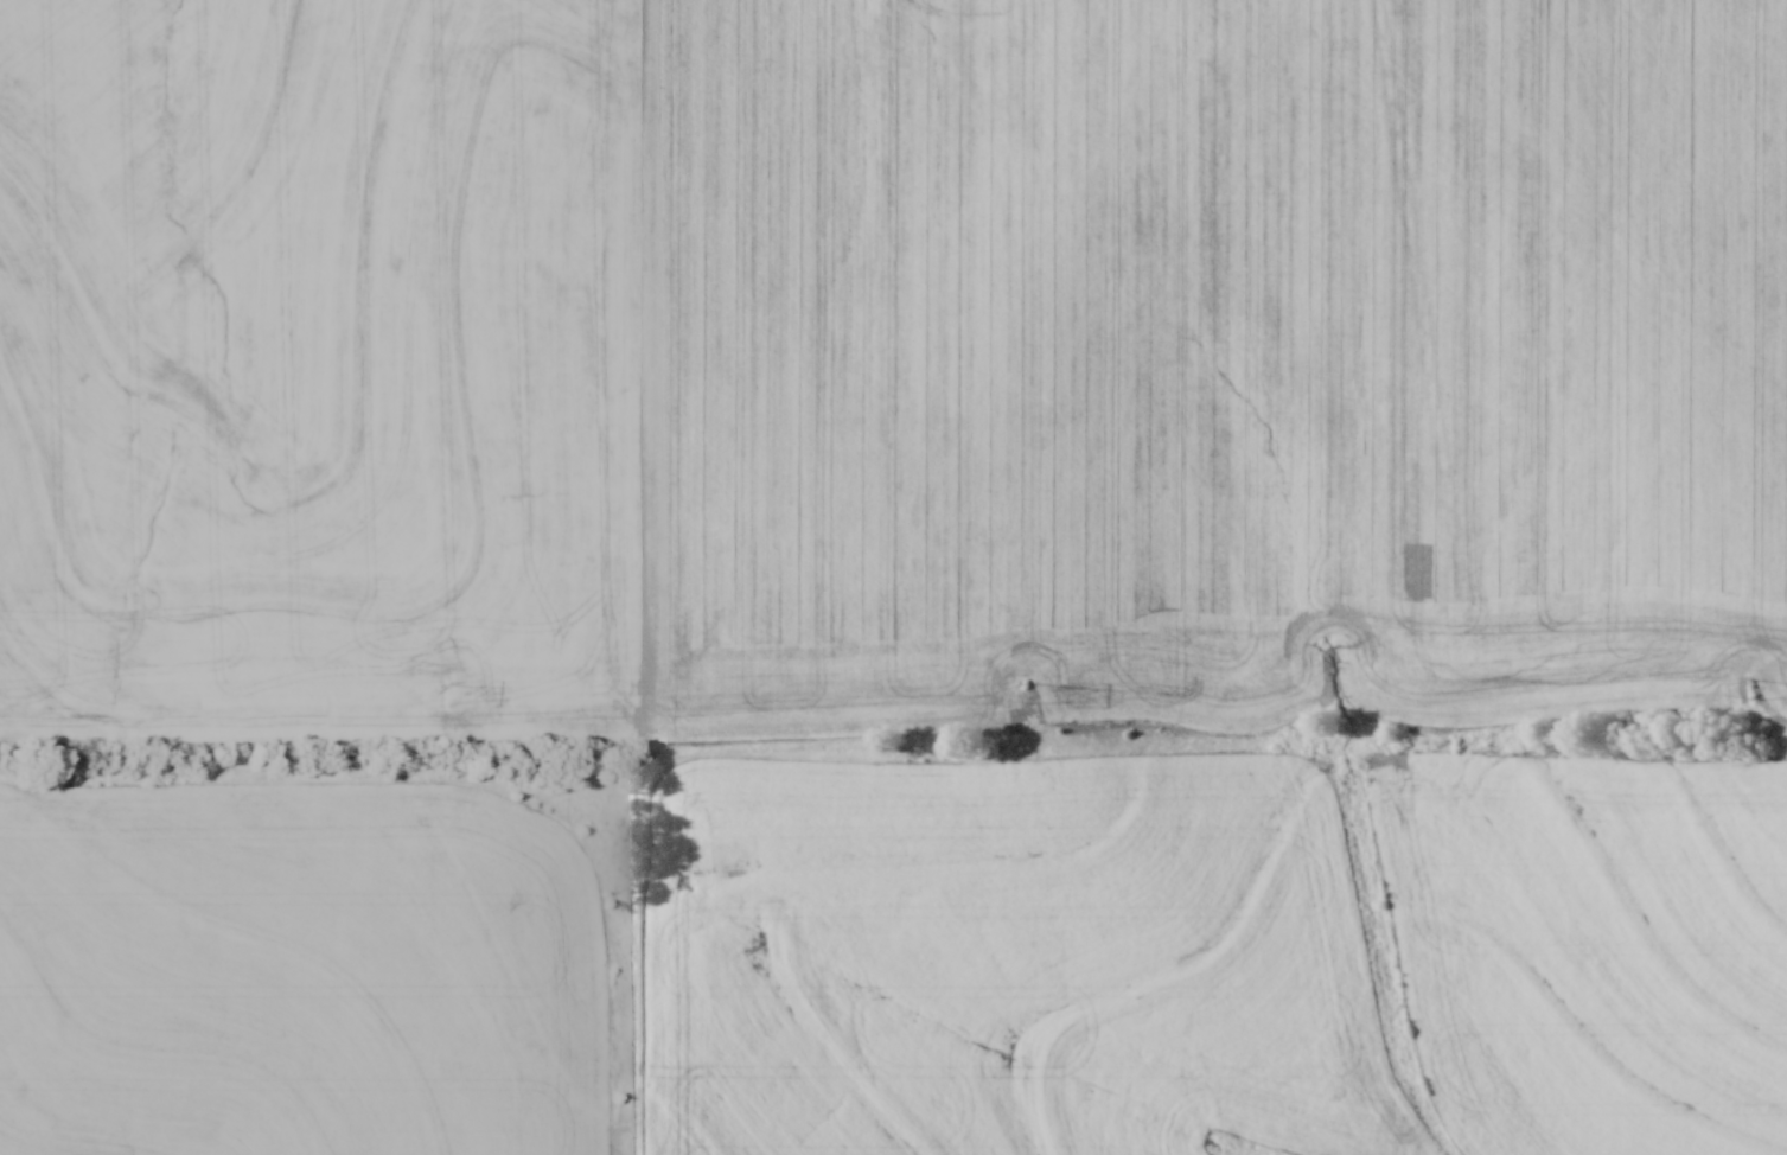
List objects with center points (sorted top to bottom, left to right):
power tower: (1747, 684)
power tower: (1022, 689)
power tower: (448, 693)

